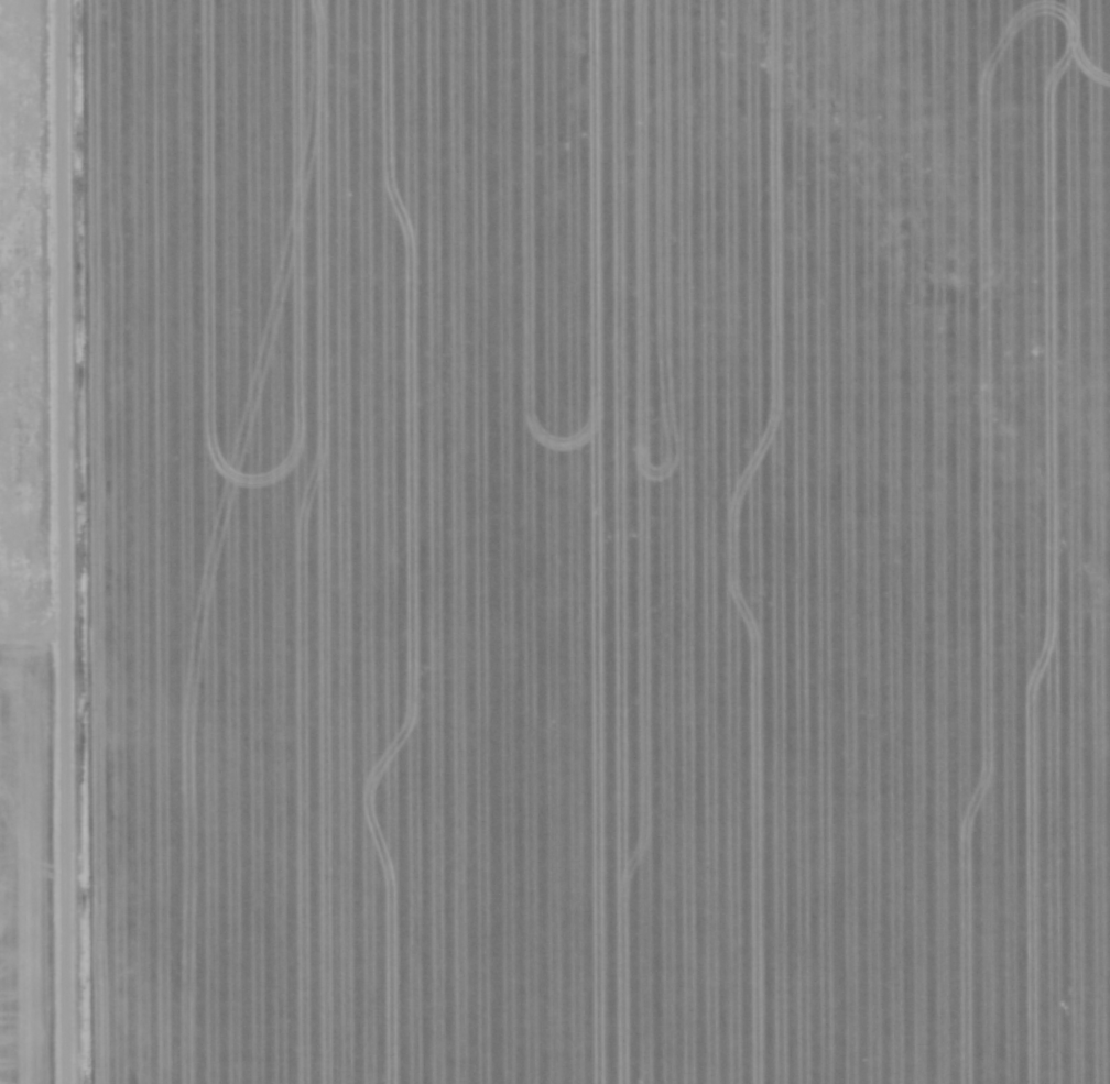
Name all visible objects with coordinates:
road: (67, 541)

